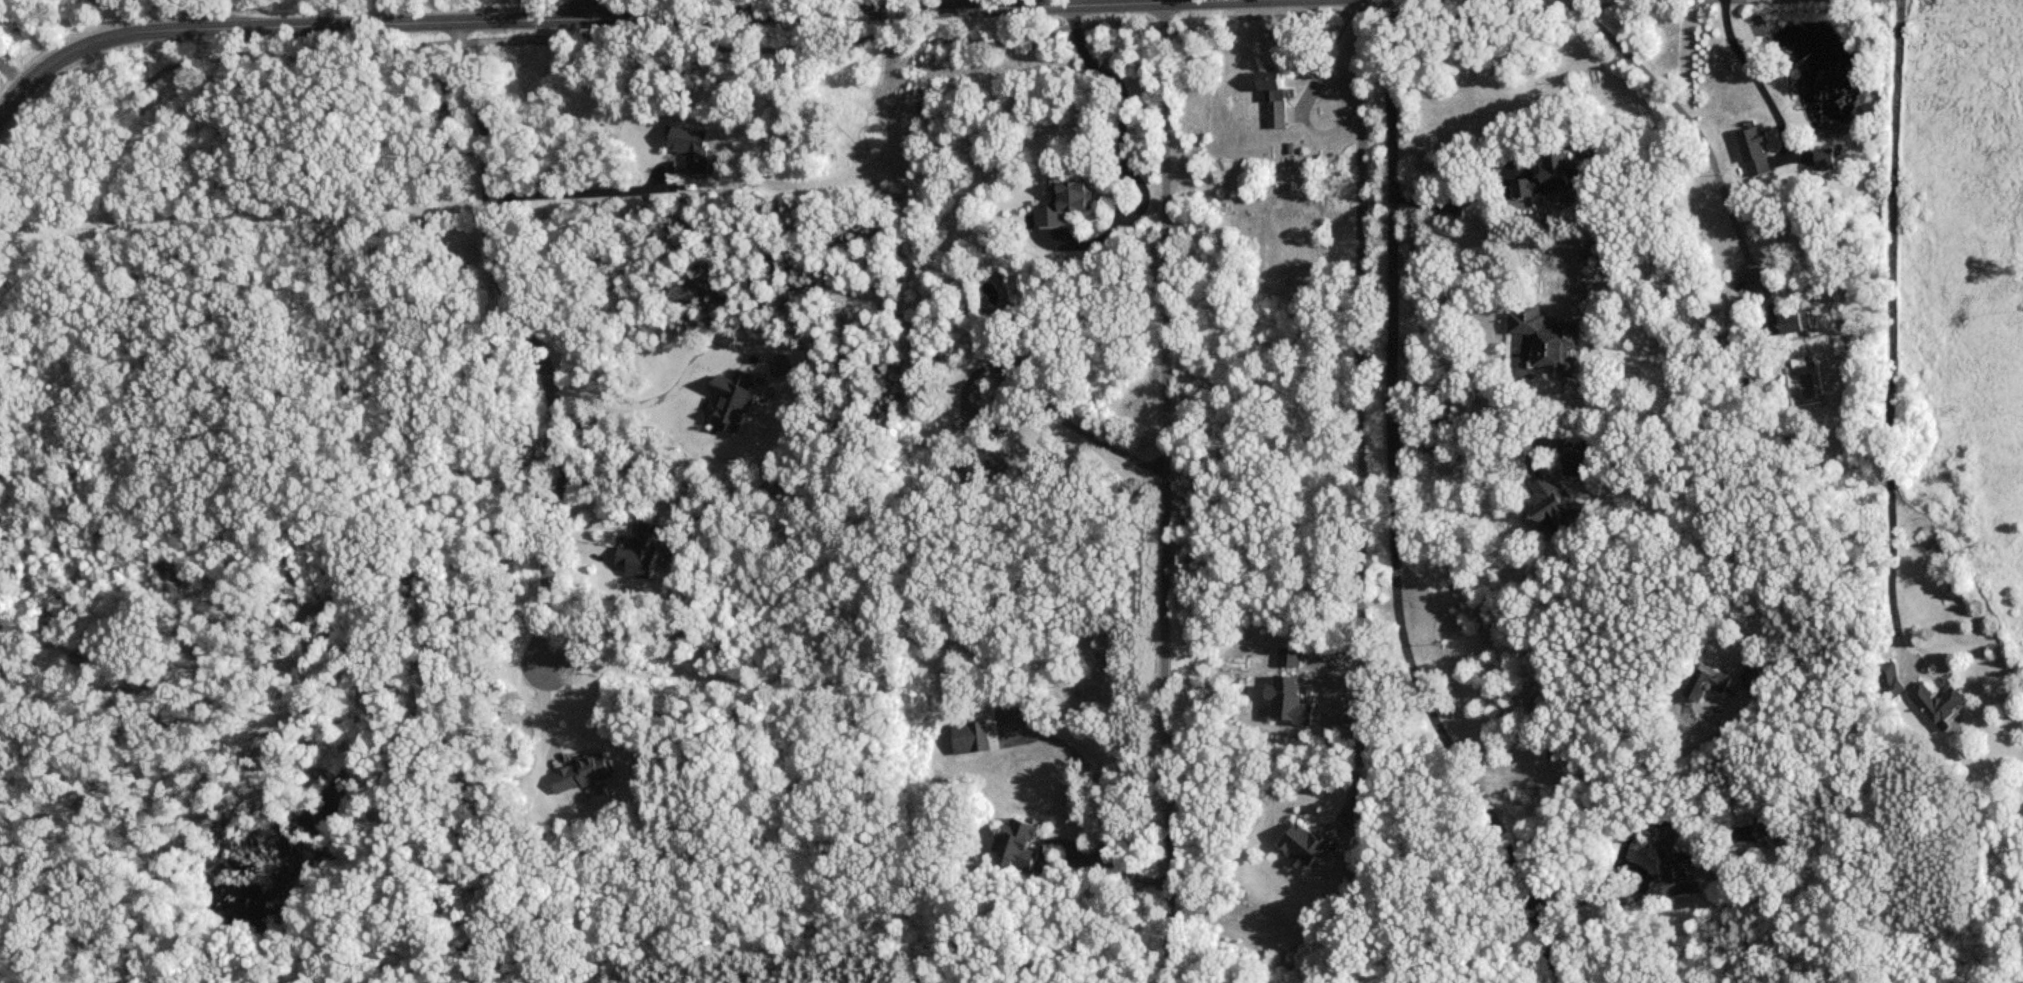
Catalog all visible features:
building: (1880, 0)
road: (1167, 1)
road: (955, 5)
road: (717, 8)
road: (585, 10)
road: (208, 14)
road: (621, 19)
road: (1142, 28)
road: (528, 41)
road: (179, 64)
road: (1753, 79)
road: (1121, 95)
building: (1272, 100)
road: (1695, 129)
building: (1753, 154)
building: (1823, 160)
building: (1548, 180)
road: (571, 186)
road: (1460, 200)
building: (1063, 205)
building: (1788, 324)
road: (1893, 331)
building: (1545, 339)
road: (539, 360)
road: (1359, 402)
road: (643, 410)
road: (1477, 415)
road: (1005, 417)
road: (3, 419)
road: (1453, 455)
building: (1578, 459)
building: (987, 469)
road: (1169, 493)
building: (1553, 507)
road: (1395, 508)
building: (1288, 658)
building: (1762, 677)
building: (1889, 681)
building: (1705, 683)
building: (1286, 700)
building: (1935, 703)
road: (2, 708)
building: (968, 738)
building: (580, 774)
road: (1616, 779)
building: (1764, 832)
building: (1016, 844)
building: (1303, 846)
road: (1087, 855)
building: (1675, 872)
road: (0, 896)
road: (1579, 899)

